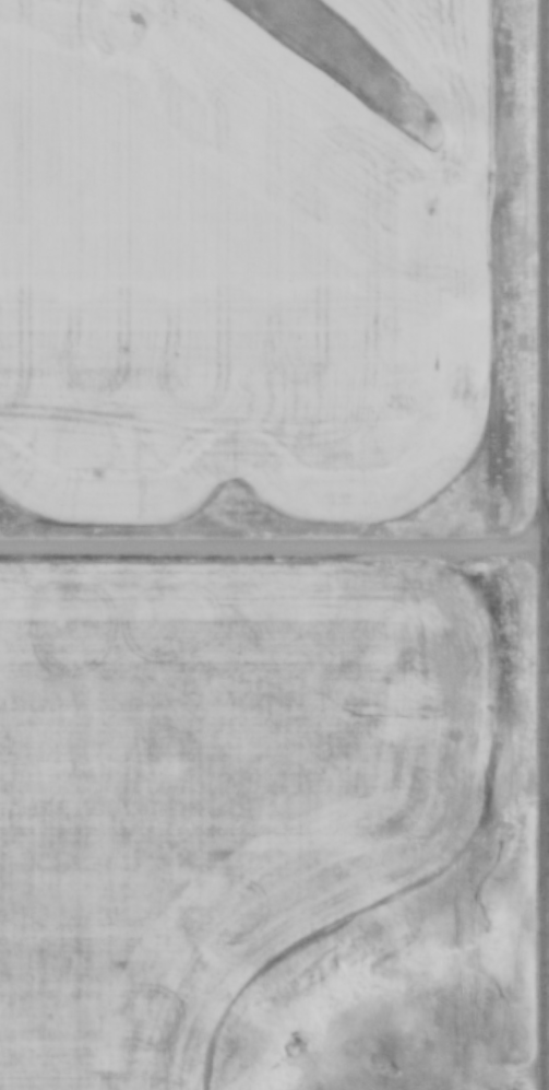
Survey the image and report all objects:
road: (274, 542)

